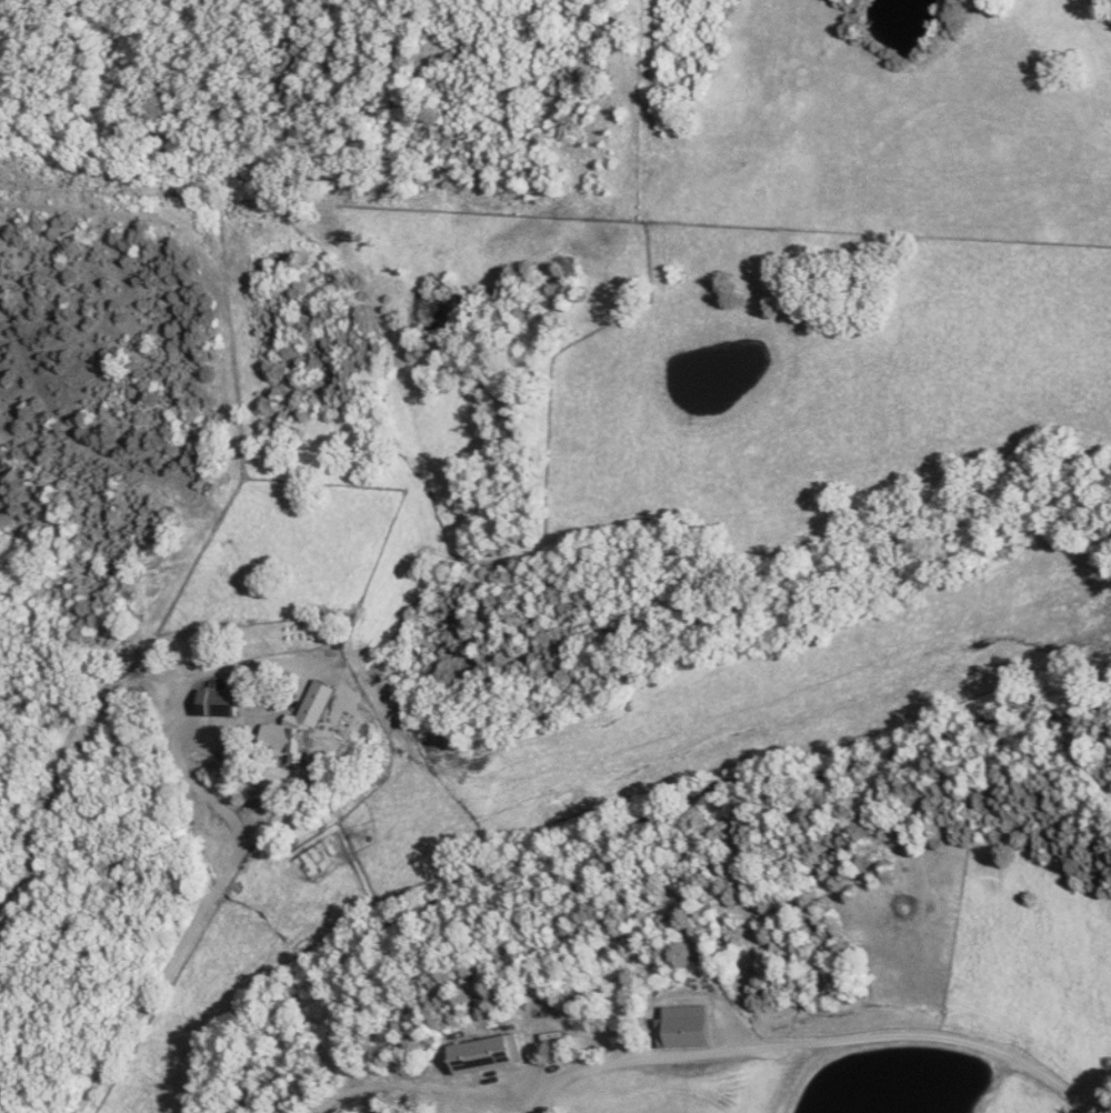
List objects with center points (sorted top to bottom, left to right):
building: (222, 702)
building: (303, 724)
road: (243, 834)
building: (689, 1026)
road: (818, 1042)
building: (493, 1054)

